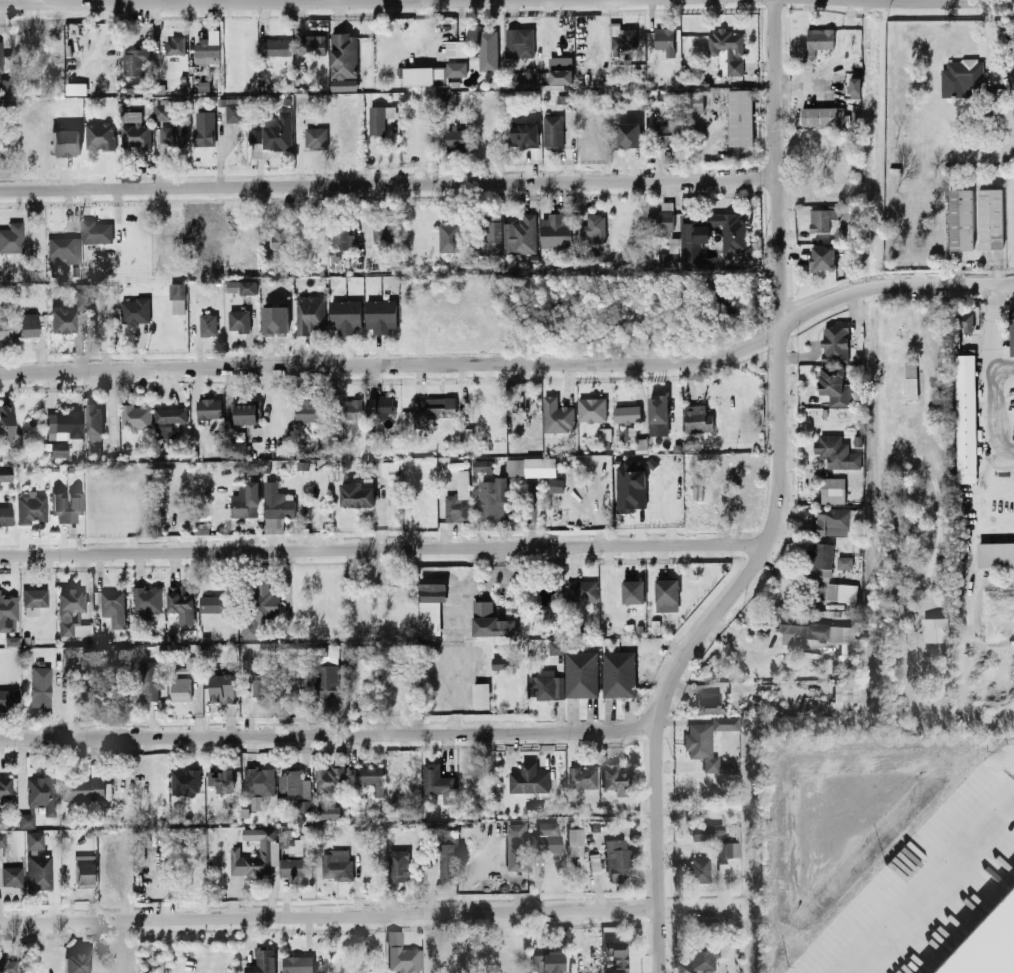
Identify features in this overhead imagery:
road: (42, 0)
road: (936, 1)
building: (621, 37)
building: (818, 39)
building: (664, 40)
building: (519, 42)
building: (311, 44)
building: (174, 45)
building: (273, 47)
building: (207, 48)
building: (455, 48)
building: (727, 48)
building: (487, 49)
building: (4, 59)
building: (134, 59)
building: (343, 61)
building: (433, 73)
building: (560, 75)
building: (961, 77)
building: (854, 85)
building: (75, 88)
building: (695, 101)
building: (232, 109)
building: (162, 110)
building: (822, 115)
building: (739, 116)
building: (379, 118)
building: (203, 127)
building: (134, 129)
building: (552, 130)
building: (276, 131)
building: (171, 134)
building: (523, 134)
building: (594, 134)
building: (628, 134)
building: (99, 135)
building: (668, 135)
building: (315, 137)
building: (455, 138)
building: (64, 141)
road: (390, 181)
building: (821, 216)
building: (959, 218)
building: (989, 218)
building: (659, 221)
building: (593, 227)
building: (555, 230)
building: (95, 231)
building: (730, 231)
building: (280, 234)
building: (383, 234)
building: (519, 235)
building: (12, 236)
building: (490, 236)
building: (342, 237)
building: (448, 237)
building: (692, 240)
building: (63, 248)
building: (822, 258)
building: (241, 286)
building: (79, 295)
building: (177, 297)
building: (732, 301)
building: (134, 310)
building: (309, 313)
building: (380, 315)
building: (345, 316)
building: (62, 319)
building: (238, 320)
building: (965, 321)
building: (27, 323)
road: (994, 323)
building: (208, 324)
building: (3, 328)
building: (1011, 331)
building: (835, 342)
road: (515, 363)
road: (1004, 365)
building: (834, 385)
building: (379, 405)
building: (208, 408)
building: (351, 408)
building: (591, 408)
building: (308, 409)
building: (433, 410)
building: (244, 411)
building: (626, 413)
building: (556, 415)
building: (657, 415)
building: (135, 416)
building: (965, 417)
building: (697, 418)
building: (167, 420)
building: (93, 421)
building: (5, 422)
building: (63, 423)
building: (623, 432)
building: (465, 433)
building: (58, 447)
building: (835, 452)
road: (996, 455)
building: (481, 465)
building: (530, 466)
building: (555, 484)
building: (629, 486)
building: (832, 489)
building: (355, 494)
building: (491, 498)
building: (458, 499)
building: (245, 500)
road: (778, 503)
building: (66, 504)
building: (31, 506)
building: (276, 506)
building: (5, 514)
building: (832, 521)
road: (383, 547)
building: (821, 554)
building: (995, 554)
building: (843, 561)
building: (582, 589)
building: (432, 590)
building: (666, 590)
building: (841, 590)
building: (632, 591)
building: (34, 599)
building: (147, 599)
building: (180, 601)
building: (212, 603)
building: (7, 606)
building: (260, 606)
building: (113, 607)
building: (72, 612)
building: (543, 614)
building: (489, 620)
building: (934, 630)
building: (819, 633)
building: (555, 646)
building: (498, 662)
building: (192, 663)
building: (580, 673)
building: (618, 673)
building: (294, 678)
building: (151, 680)
building: (325, 683)
building: (40, 685)
building: (255, 685)
building: (545, 685)
building: (222, 687)
building: (180, 688)
building: (480, 693)
building: (8, 696)
building: (845, 697)
building: (708, 706)
road: (327, 734)
building: (706, 743)
building: (370, 777)
building: (528, 778)
building: (220, 779)
building: (583, 779)
building: (185, 780)
building: (258, 780)
building: (328, 780)
building: (616, 780)
building: (438, 782)
building: (293, 783)
building: (5, 785)
building: (87, 785)
building: (41, 794)
building: (327, 811)
building: (1, 816)
building: (26, 819)
building: (709, 833)
building: (2, 838)
building: (34, 838)
building: (547, 840)
building: (576, 840)
building: (290, 842)
building: (517, 847)
building: (264, 850)
building: (728, 851)
building: (446, 859)
building: (618, 862)
building: (337, 864)
building: (398, 864)
building: (291, 867)
building: (38, 869)
building: (84, 869)
building: (116, 871)
building: (701, 871)
building: (12, 874)
road: (930, 883)
road: (329, 915)
building: (988, 945)
building: (618, 956)
building: (707, 957)
building: (262, 961)
building: (405, 961)
building: (548, 963)
building: (297, 964)
building: (7, 965)

